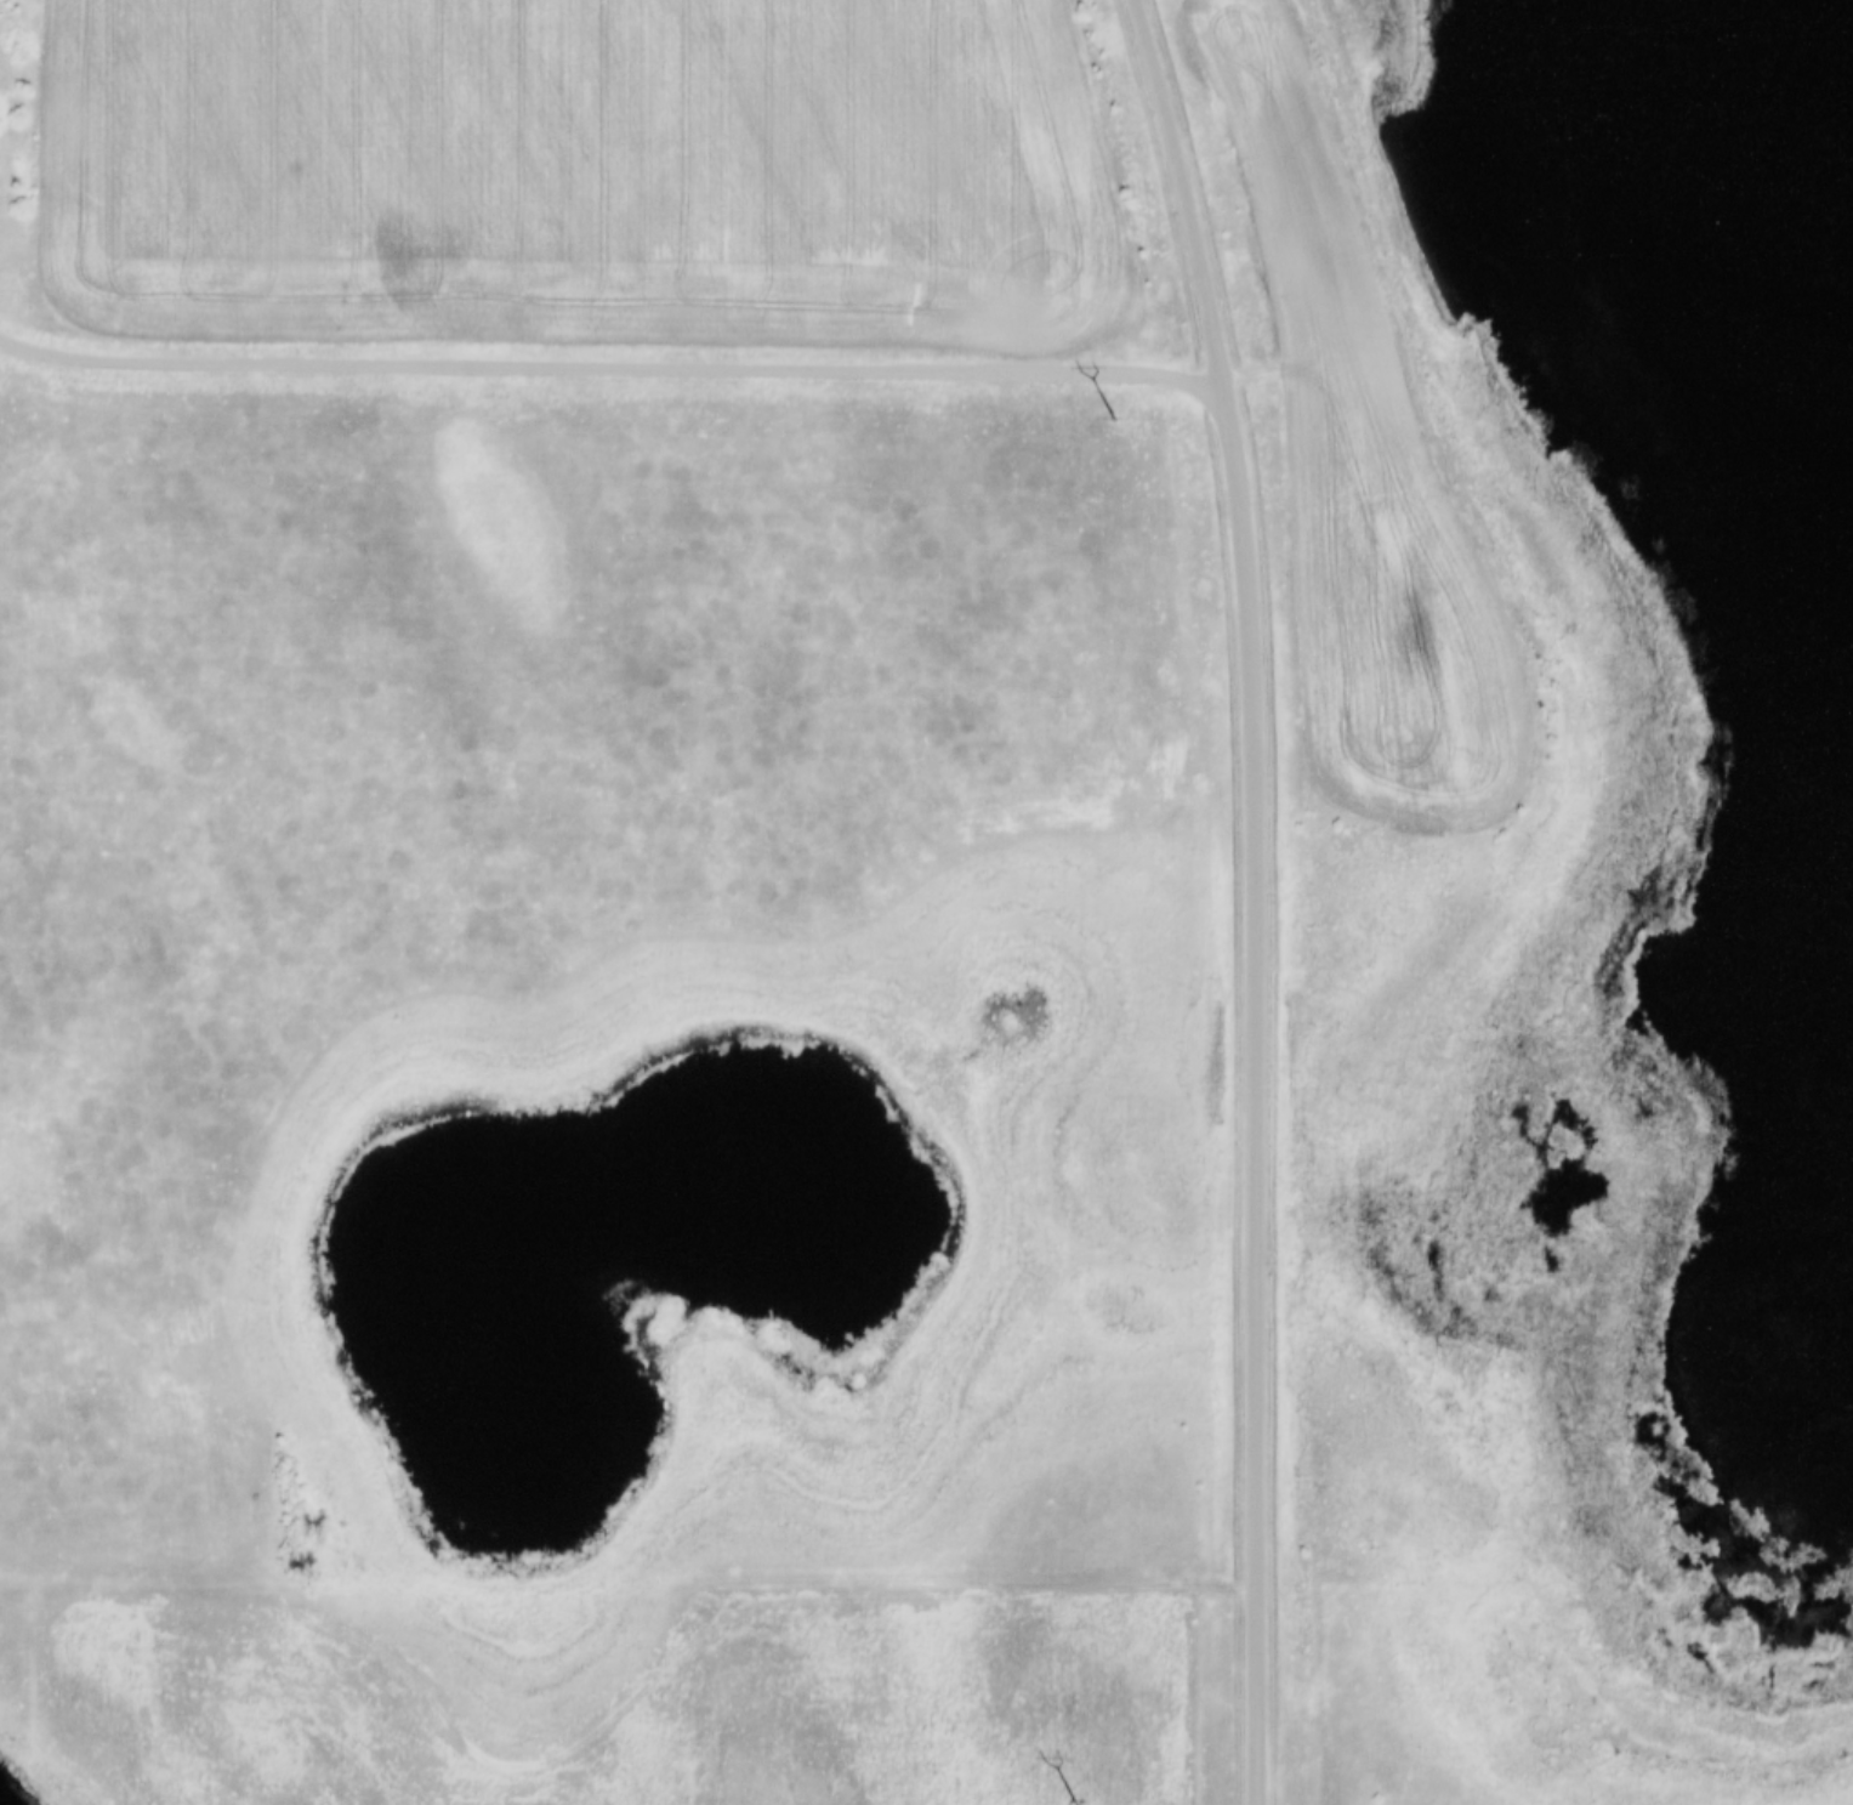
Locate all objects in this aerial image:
road: (607, 368)
road: (1254, 896)

